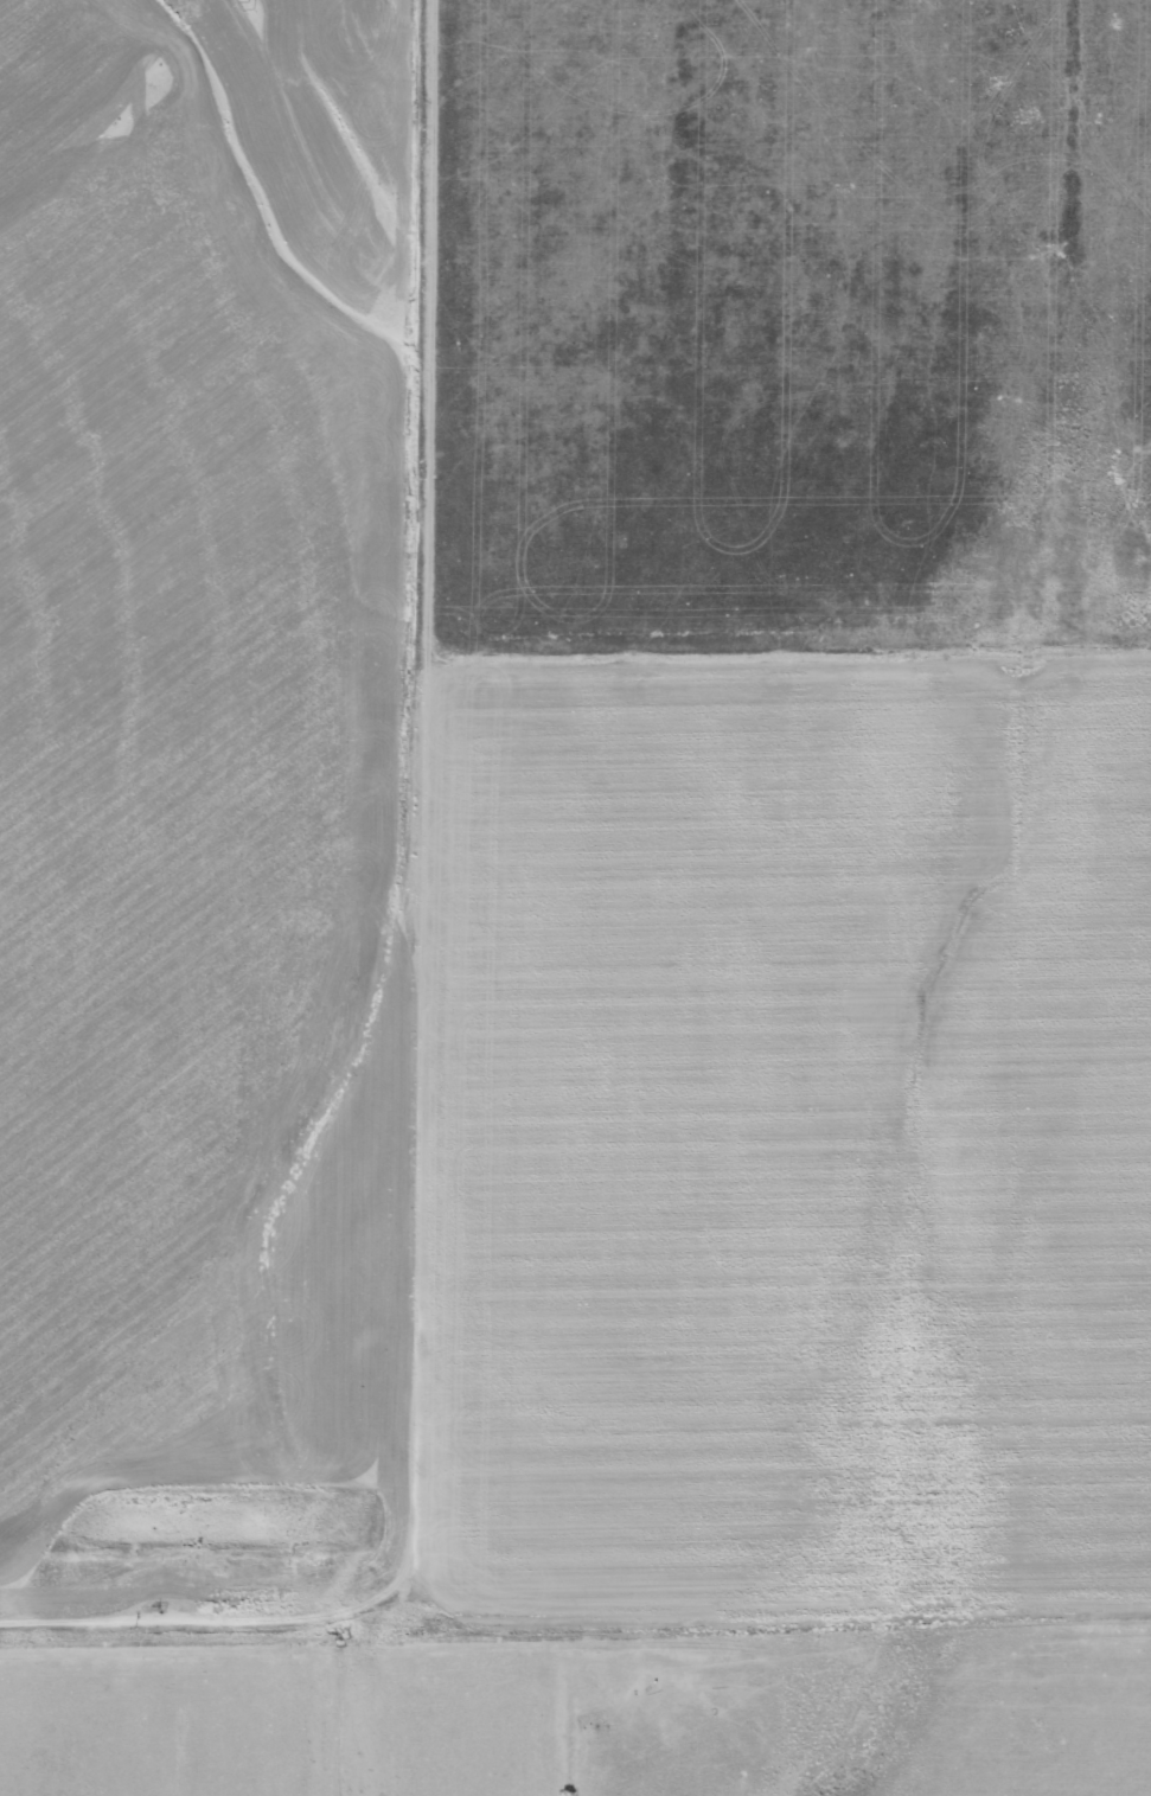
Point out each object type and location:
power tower: (250, 5)

